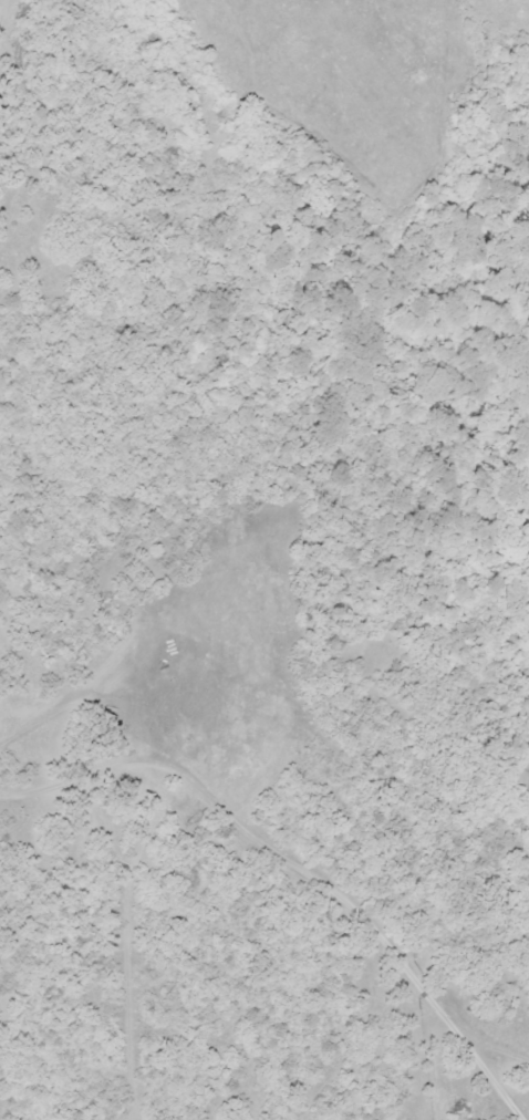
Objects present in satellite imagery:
road: (288, 883)

